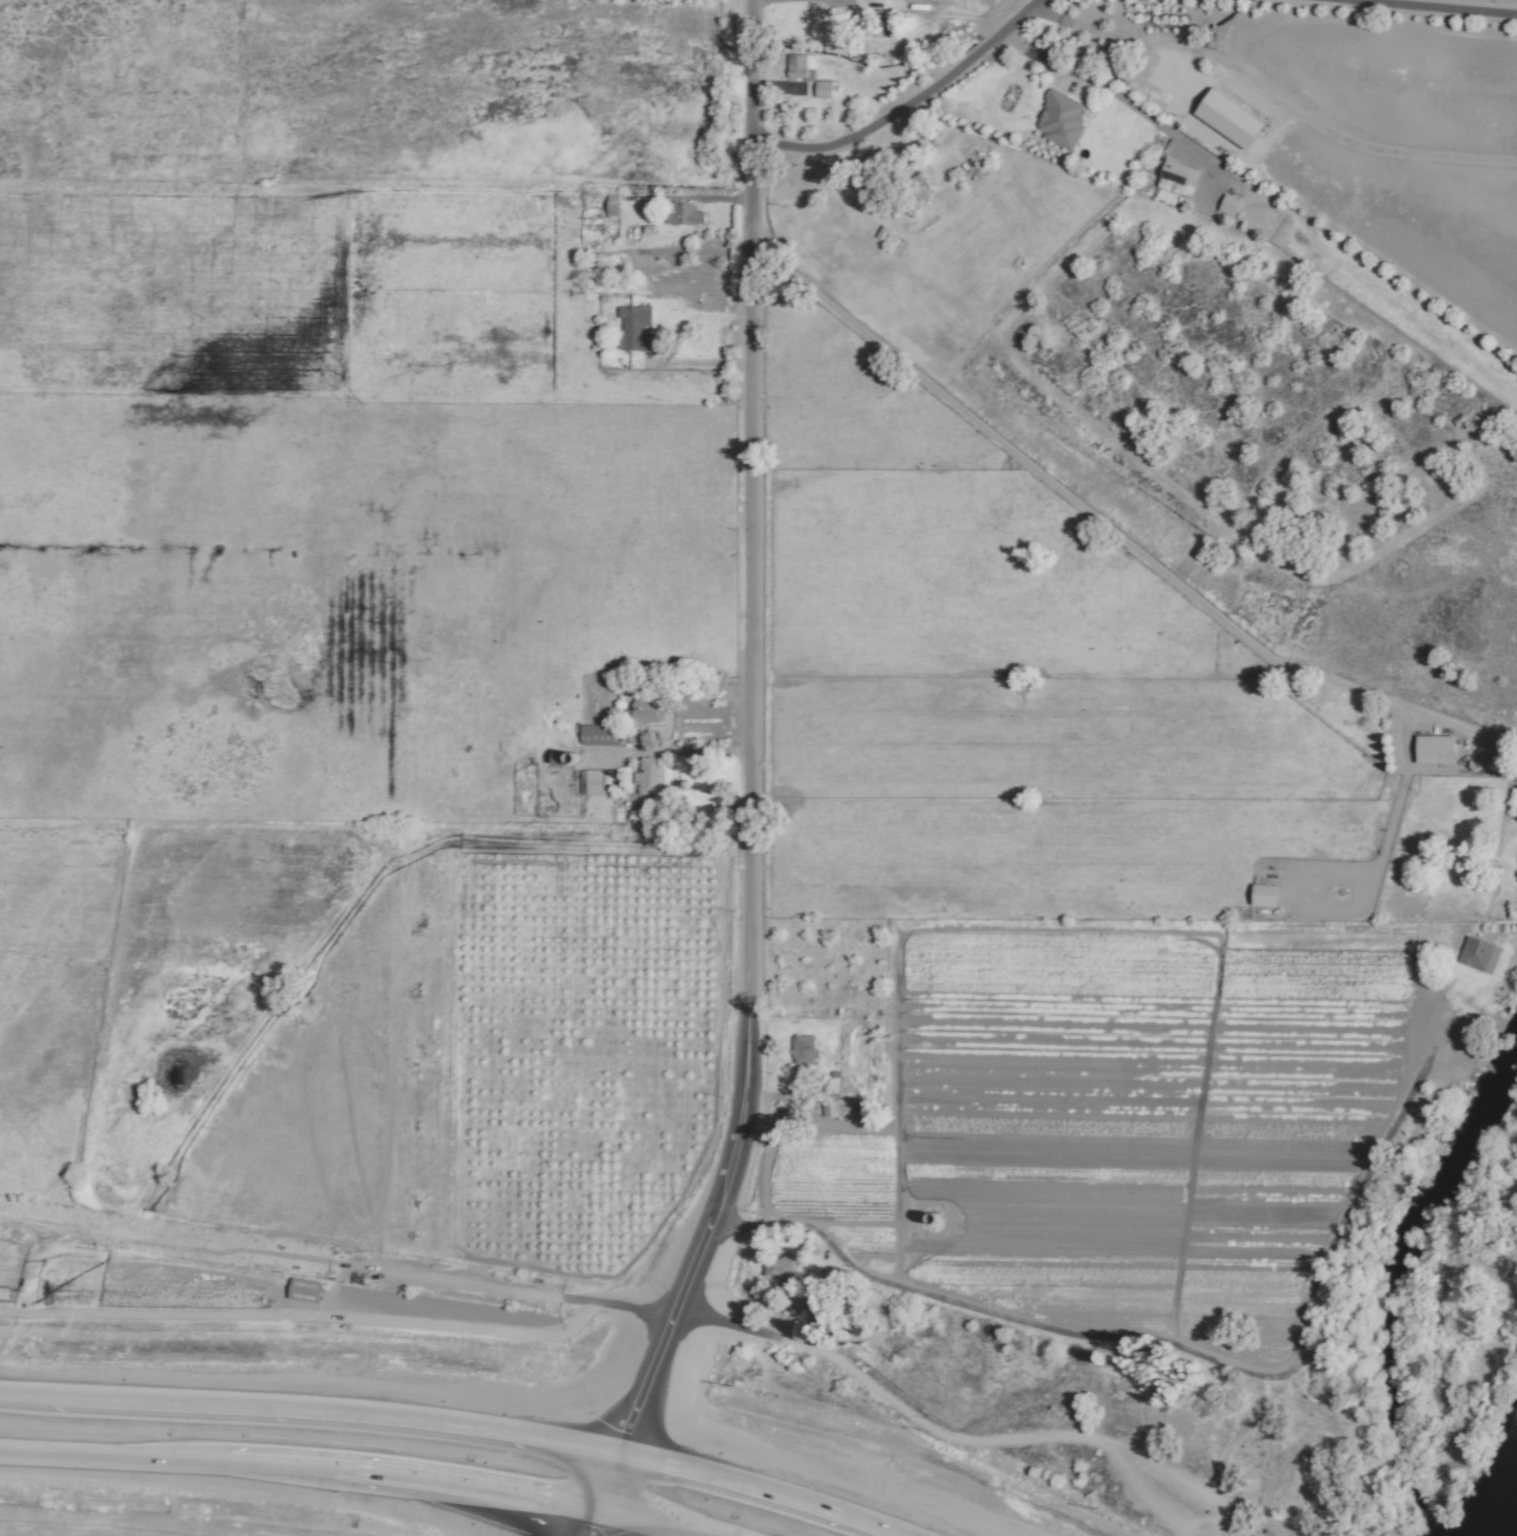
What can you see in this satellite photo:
road: (1416, 7)
road: (1109, 36)
road: (1204, 54)
building: (806, 75)
road: (1102, 87)
road: (902, 101)
building: (1059, 120)
crop: (1345, 128)
road: (1353, 144)
building: (1175, 178)
crop: (322, 182)
building: (1227, 204)
building: (610, 206)
building: (680, 214)
building: (633, 329)
road: (702, 365)
road: (1067, 495)
crop: (328, 594)
crop: (982, 690)
building: (643, 714)
building: (597, 735)
building: (1432, 749)
road: (719, 753)
road: (750, 768)
building: (646, 777)
building: (593, 783)
building: (1516, 879)
building: (1261, 895)
building: (1477, 955)
crop: (358, 1030)
building: (802, 1050)
crop: (1111, 1128)
building: (776, 1268)
building: (302, 1291)
road: (528, 1295)
road: (307, 1317)
road: (453, 1425)
road: (356, 1474)
river: (1506, 1510)
road: (586, 1521)

